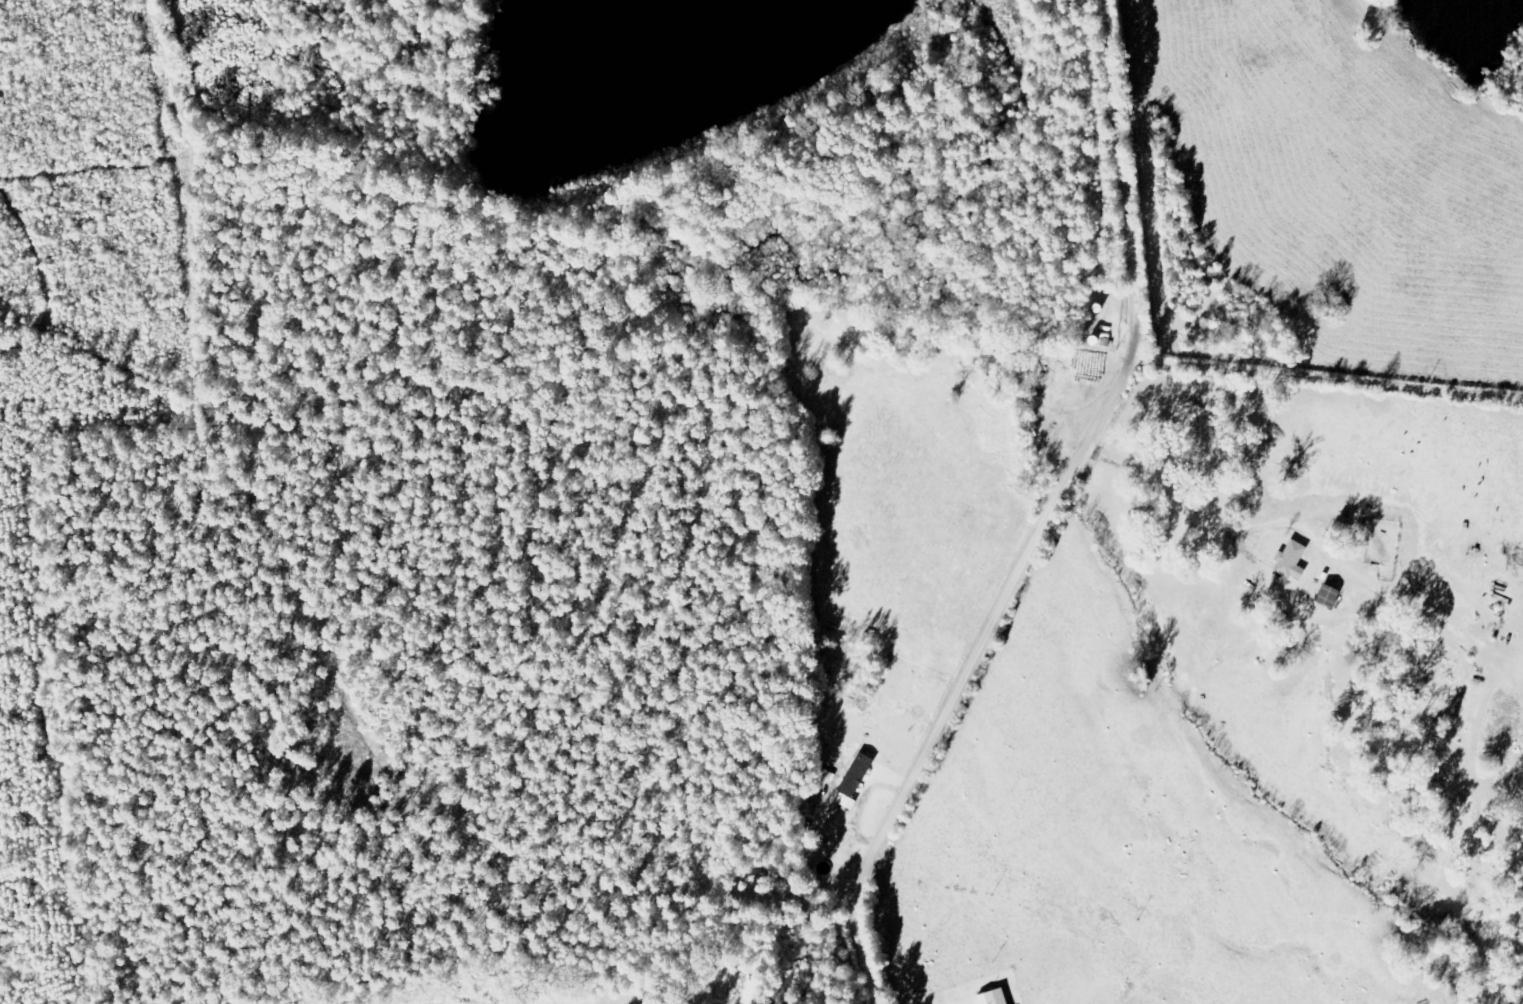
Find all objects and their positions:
road: (1328, 382)
road: (1069, 516)
building: (1293, 562)
building: (859, 776)
building: (995, 998)

